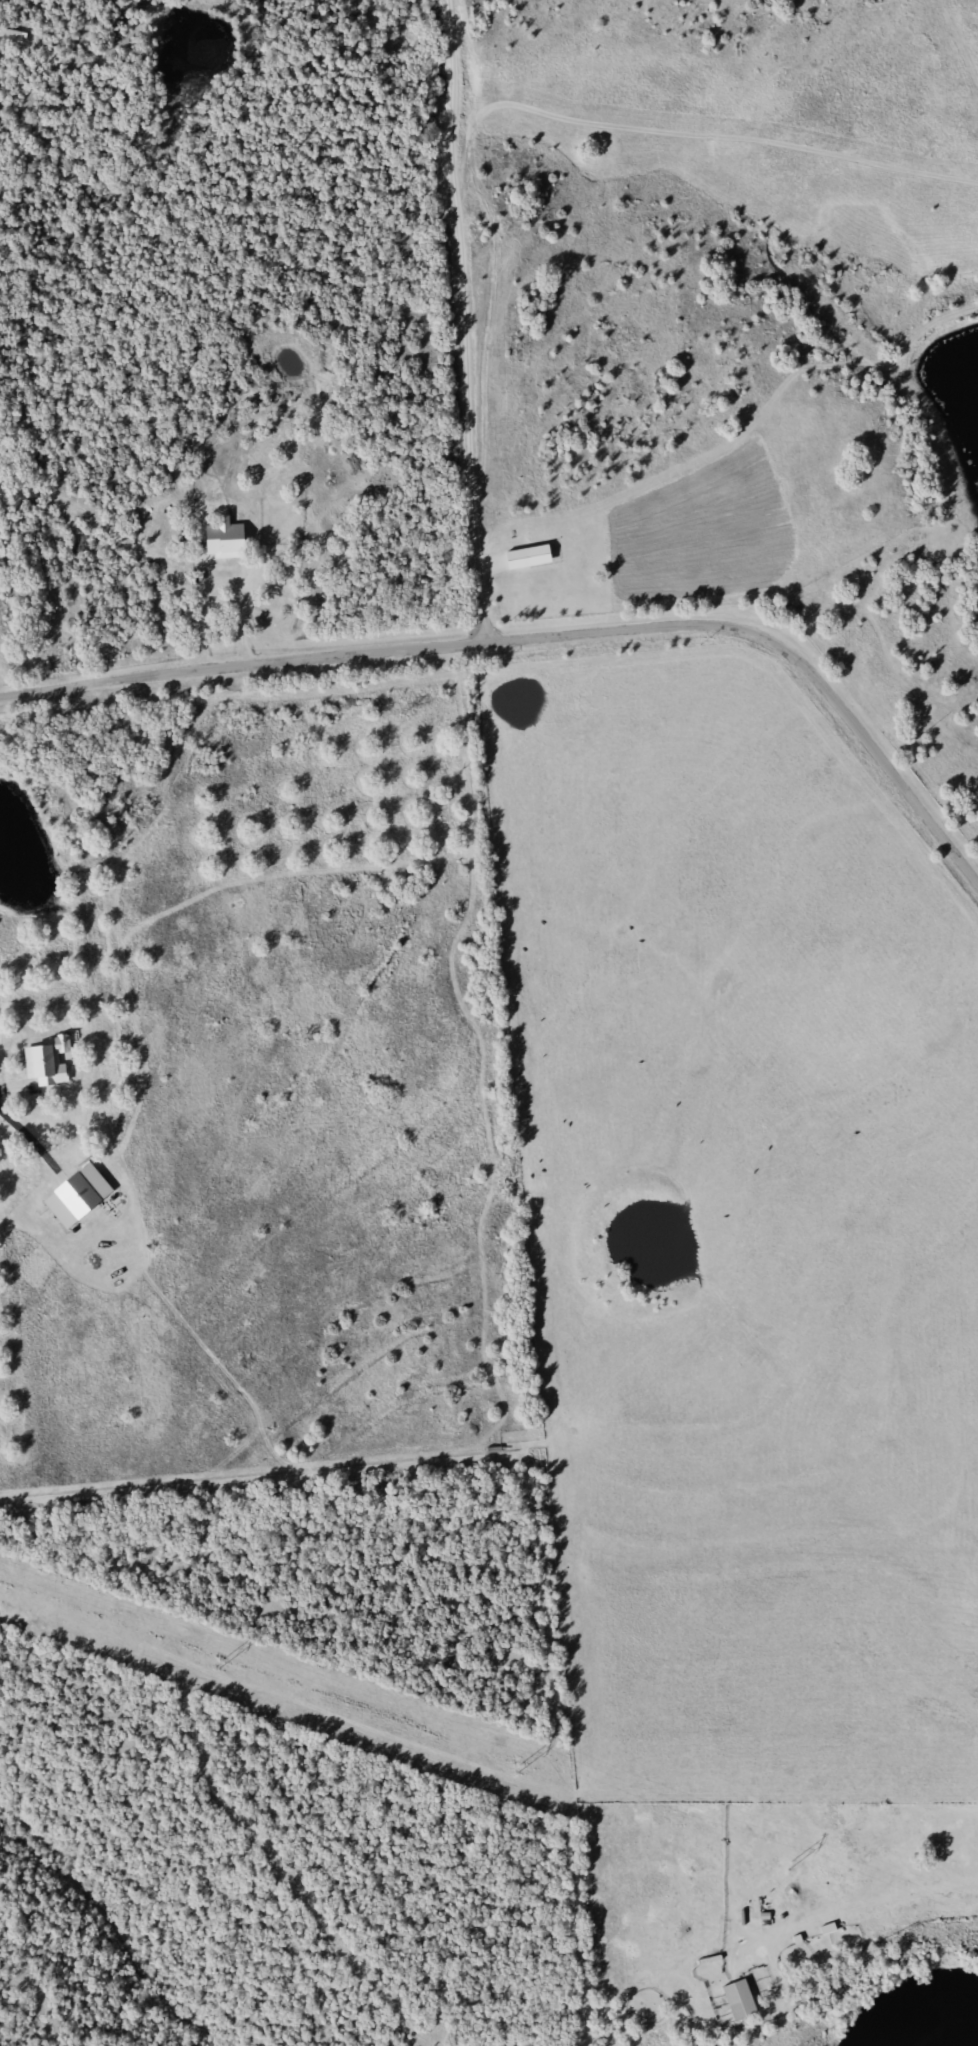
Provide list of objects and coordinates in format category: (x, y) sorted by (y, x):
road: (452, 321)
building: (226, 541)
road: (240, 620)
road: (205, 625)
road: (546, 637)

